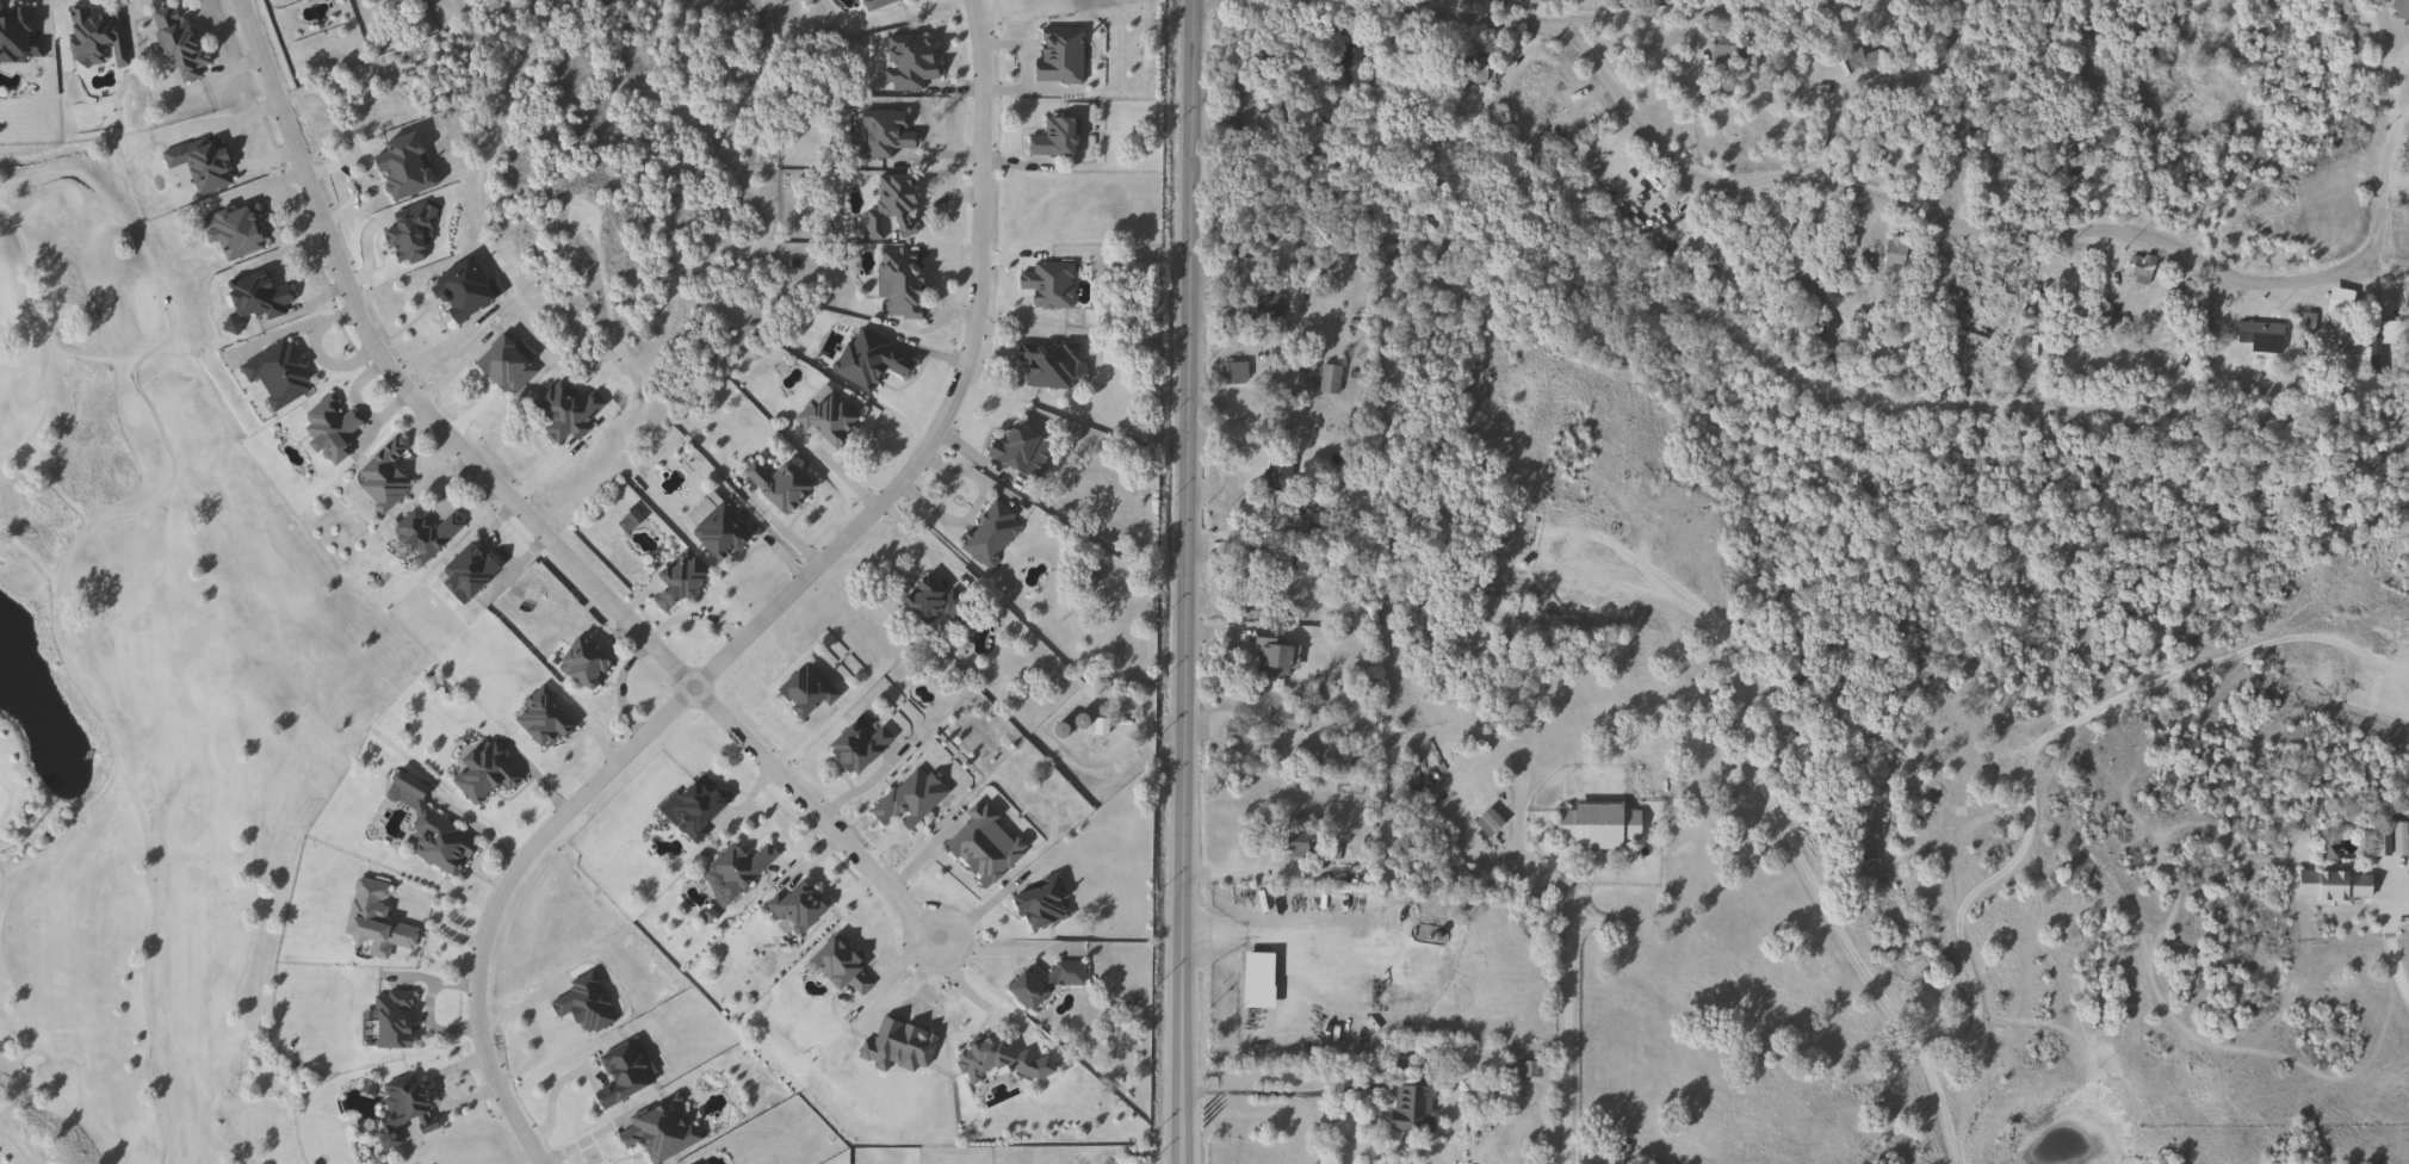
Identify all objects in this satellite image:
building: (1535, 1)
building: (872, 2)
road: (1577, 5)
building: (2398, 8)
road: (2228, 29)
building: (91, 35)
building: (16, 36)
building: (174, 41)
building: (1723, 49)
building: (1343, 60)
building: (1860, 60)
building: (1472, 68)
building: (1238, 81)
building: (2179, 81)
building: (2175, 116)
road: (2391, 122)
road: (2399, 122)
building: (879, 132)
building: (1048, 137)
building: (197, 162)
building: (398, 166)
building: (1944, 175)
road: (2398, 181)
building: (2013, 186)
building: (887, 208)
road: (1952, 208)
building: (231, 229)
building: (407, 233)
building: (1885, 258)
building: (1245, 270)
building: (894, 281)
building: (456, 290)
building: (250, 298)
building: (1258, 307)
building: (2218, 307)
building: (2100, 317)
building: (2256, 335)
road: (47, 339)
building: (865, 358)
building: (496, 363)
building: (1045, 364)
building: (274, 373)
building: (1231, 373)
road: (414, 378)
building: (1325, 379)
building: (559, 410)
building: (823, 417)
building: (326, 429)
building: (1011, 448)
building: (379, 475)
building: (1275, 475)
building: (773, 484)
building: (714, 532)
building: (420, 533)
building: (986, 534)
building: (1251, 563)
building: (462, 572)
building: (673, 581)
road: (1183, 581)
road: (56, 584)
building: (927, 599)
road: (767, 607)
building: (1269, 656)
building: (580, 663)
building: (801, 689)
building: (539, 718)
building: (1283, 719)
building: (1232, 732)
building: (853, 747)
building: (1331, 755)
building: (481, 772)
road: (813, 798)
building: (904, 798)
building: (688, 809)
road: (1994, 821)
building: (1486, 824)
building: (1592, 824)
building: (1293, 837)
road: (60, 838)
building: (436, 842)
building: (2378, 844)
building: (1334, 852)
building: (733, 868)
building: (2329, 885)
building: (1038, 903)
building: (793, 906)
building: (374, 924)
road: (972, 940)
road: (2388, 946)
building: (835, 967)
building: (1039, 982)
road: (1561, 1002)
building: (580, 1003)
road: (526, 1004)
building: (388, 1020)
road: (535, 1054)
building: (618, 1072)
road: (1358, 1088)
road: (550, 1098)
road: (1969, 1104)
building: (1407, 1108)
building: (400, 1109)
building: (656, 1131)
road: (14, 1146)

